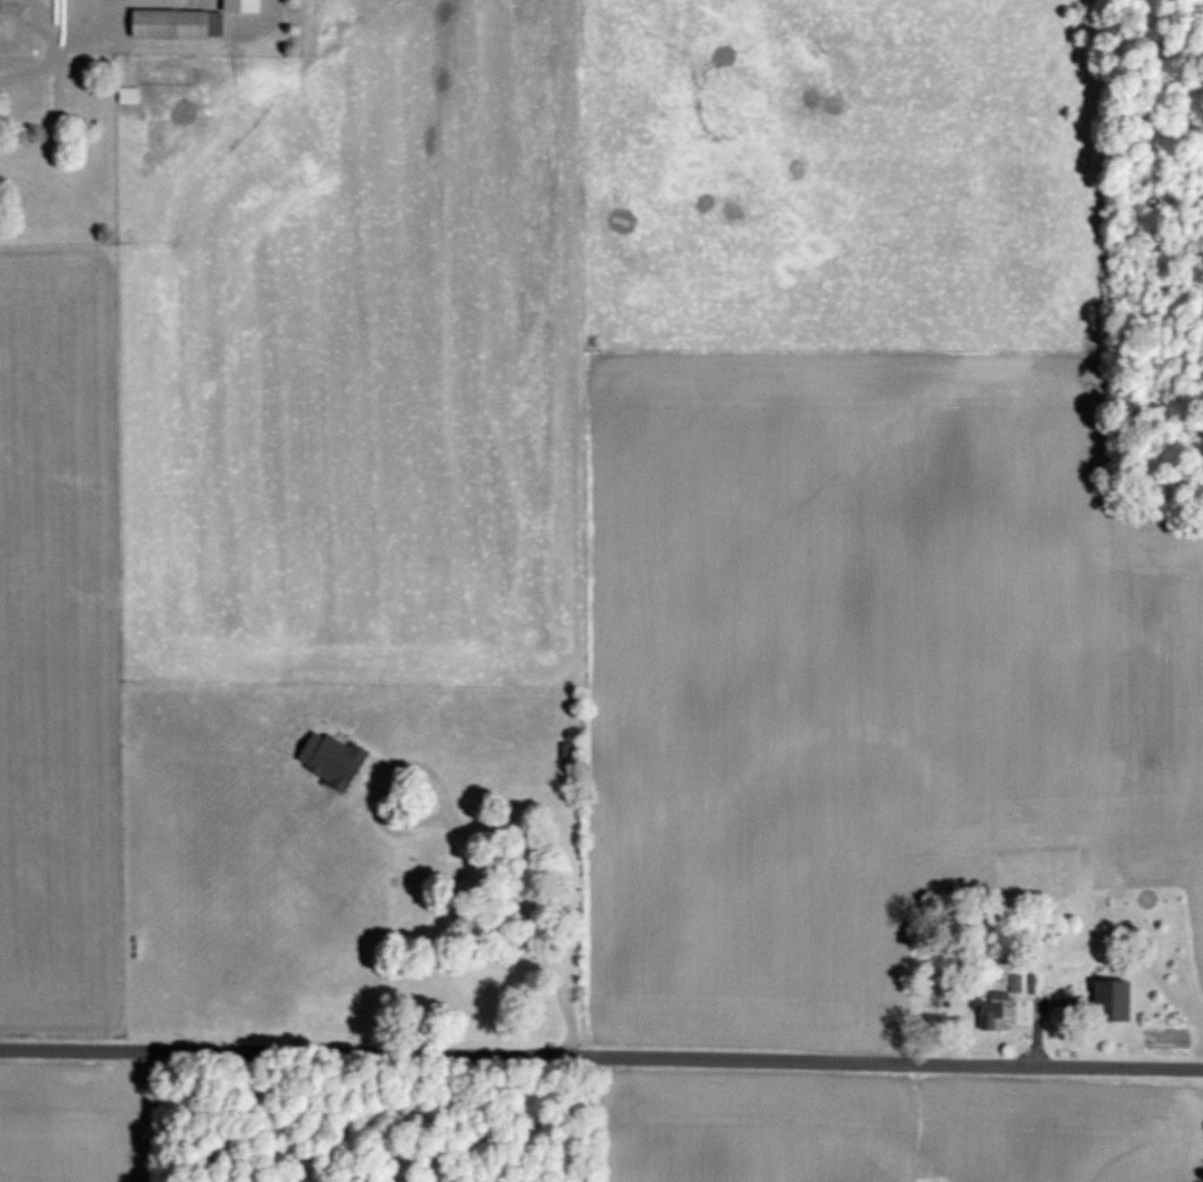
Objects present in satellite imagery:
road: (50, 17)
building: (174, 23)
building: (126, 94)
building: (28, 96)
road: (469, 837)
building: (1109, 1000)
building: (992, 1009)
road: (601, 1060)

